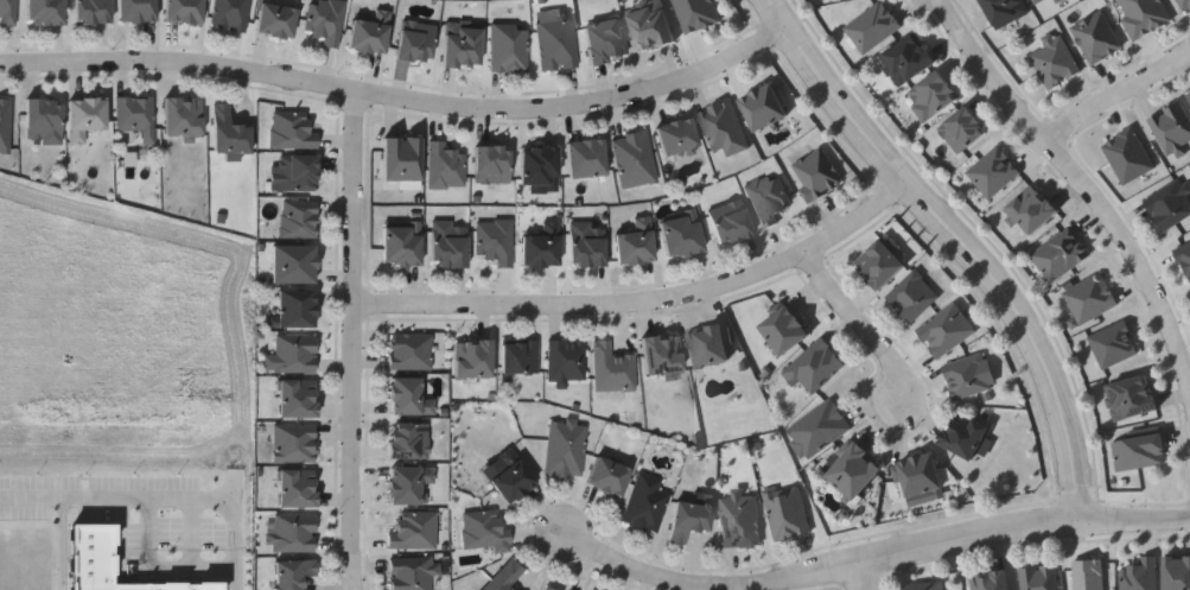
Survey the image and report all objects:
building: (1041, 2)
building: (136, 9)
building: (8, 11)
building: (45, 11)
building: (93, 11)
building: (184, 11)
building: (1006, 11)
building: (230, 13)
building: (696, 14)
building: (1145, 17)
building: (276, 18)
building: (325, 20)
building: (651, 24)
building: (370, 32)
building: (415, 40)
building: (555, 40)
building: (605, 42)
building: (462, 44)
building: (508, 47)
building: (908, 61)
building: (1055, 62)
road: (1176, 62)
building: (1189, 93)
road: (399, 95)
building: (934, 96)
road: (1102, 101)
building: (764, 107)
building: (84, 115)
building: (135, 115)
building: (183, 116)
building: (43, 120)
building: (5, 123)
building: (723, 127)
building: (291, 128)
building: (1171, 128)
building: (963, 131)
building: (229, 132)
building: (676, 134)
building: (402, 158)
building: (586, 158)
building: (634, 158)
building: (1131, 158)
building: (491, 163)
building: (539, 164)
building: (445, 165)
building: (298, 172)
building: (816, 173)
road: (1083, 182)
building: (768, 198)
building: (1172, 207)
building: (1032, 210)
building: (298, 217)
building: (731, 221)
building: (681, 233)
building: (495, 240)
building: (402, 242)
building: (636, 242)
building: (448, 243)
building: (587, 243)
road: (961, 243)
building: (541, 246)
building: (1184, 255)
building: (294, 264)
building: (880, 264)
building: (912, 294)
road: (645, 302)
building: (297, 307)
road: (859, 322)
building: (783, 328)
building: (946, 329)
road: (352, 340)
building: (1114, 344)
building: (707, 345)
building: (408, 349)
building: (294, 353)
building: (662, 354)
building: (518, 356)
building: (472, 357)
building: (566, 360)
building: (814, 366)
building: (612, 368)
building: (968, 375)
building: (405, 395)
building: (298, 398)
building: (1133, 400)
building: (820, 427)
building: (967, 436)
building: (408, 440)
building: (294, 442)
building: (565, 449)
building: (854, 471)
building: (609, 475)
building: (919, 475)
building: (511, 476)
building: (408, 483)
building: (295, 488)
road: (158, 501)
building: (645, 502)
building: (787, 514)
building: (689, 519)
building: (740, 521)
road: (1173, 521)
building: (413, 531)
building: (483, 531)
building: (294, 532)
road: (65, 545)
road: (161, 562)
road: (855, 563)
building: (293, 572)
building: (411, 572)
building: (1177, 572)
building: (504, 576)
road: (864, 576)
building: (1143, 576)
building: (1038, 577)
building: (991, 582)
building: (925, 585)
building: (548, 588)

